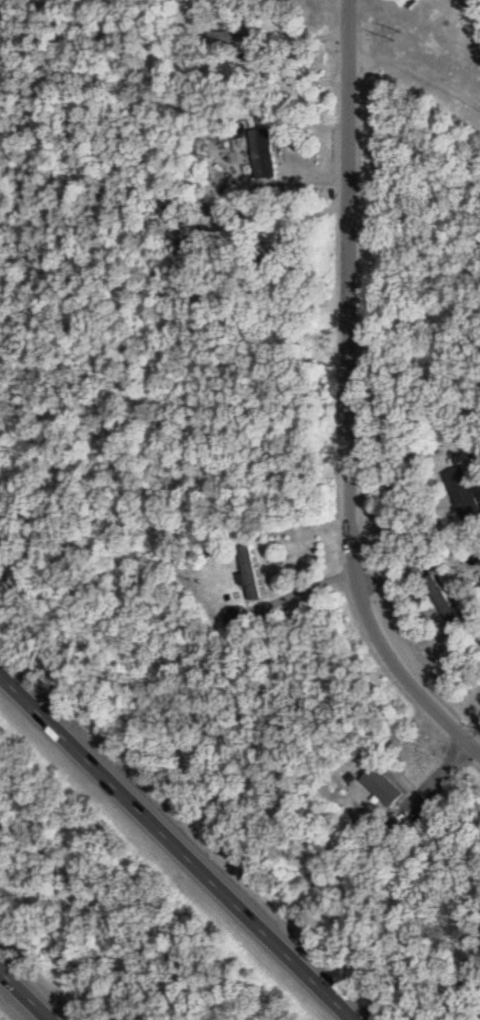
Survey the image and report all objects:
power tower: (398, 30)
building: (227, 40)
building: (262, 156)
road: (161, 356)
road: (349, 397)
building: (463, 496)
building: (248, 575)
road: (304, 584)
building: (433, 592)
building: (478, 644)
building: (380, 789)
road: (183, 841)
road: (32, 988)

